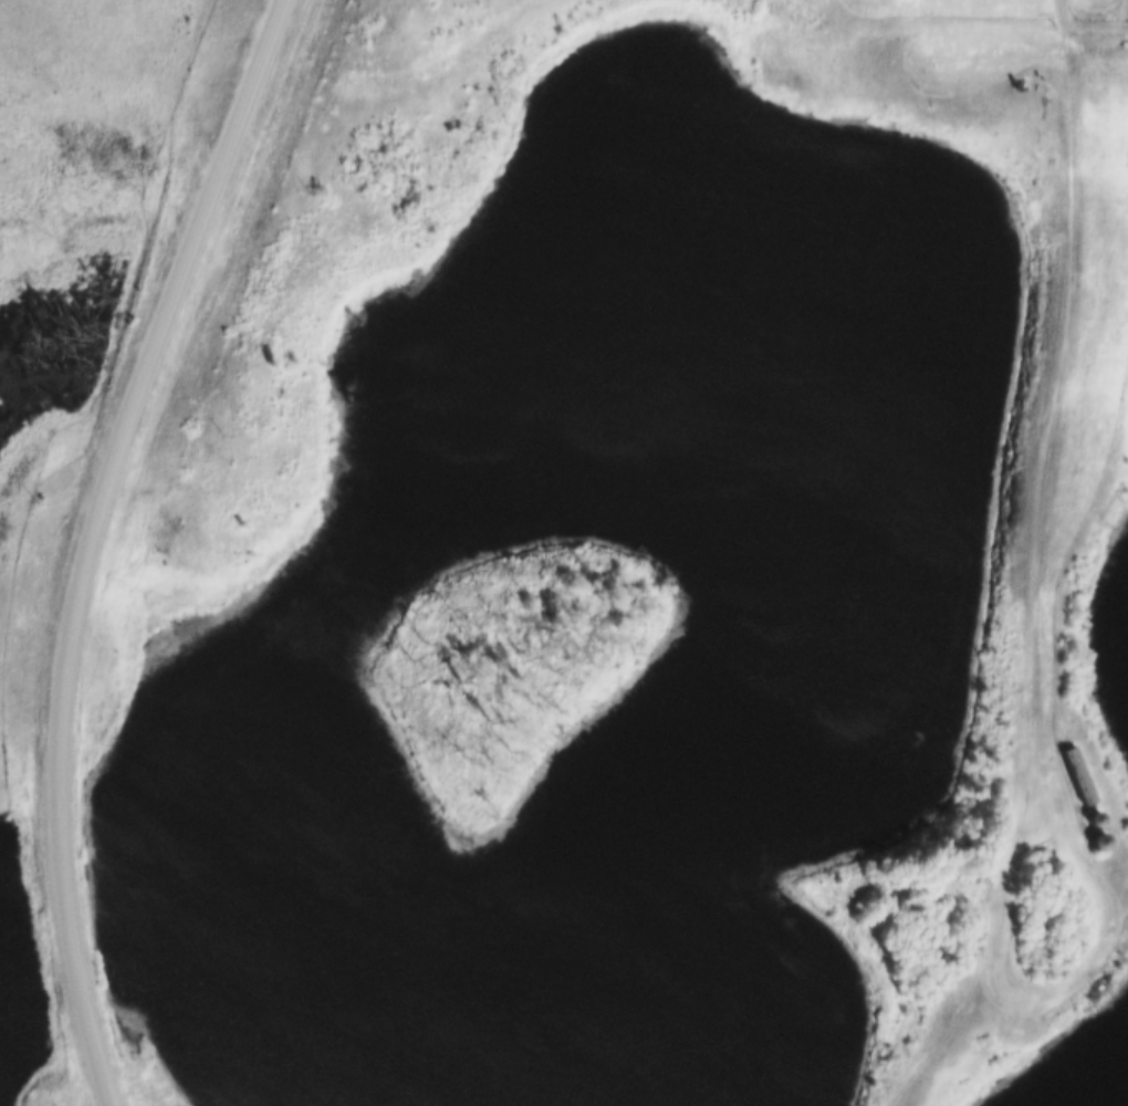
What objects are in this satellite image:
road: (1084, 39)
road: (88, 539)
building: (1065, 766)
building: (1080, 775)
building: (1079, 812)
building: (1086, 834)

